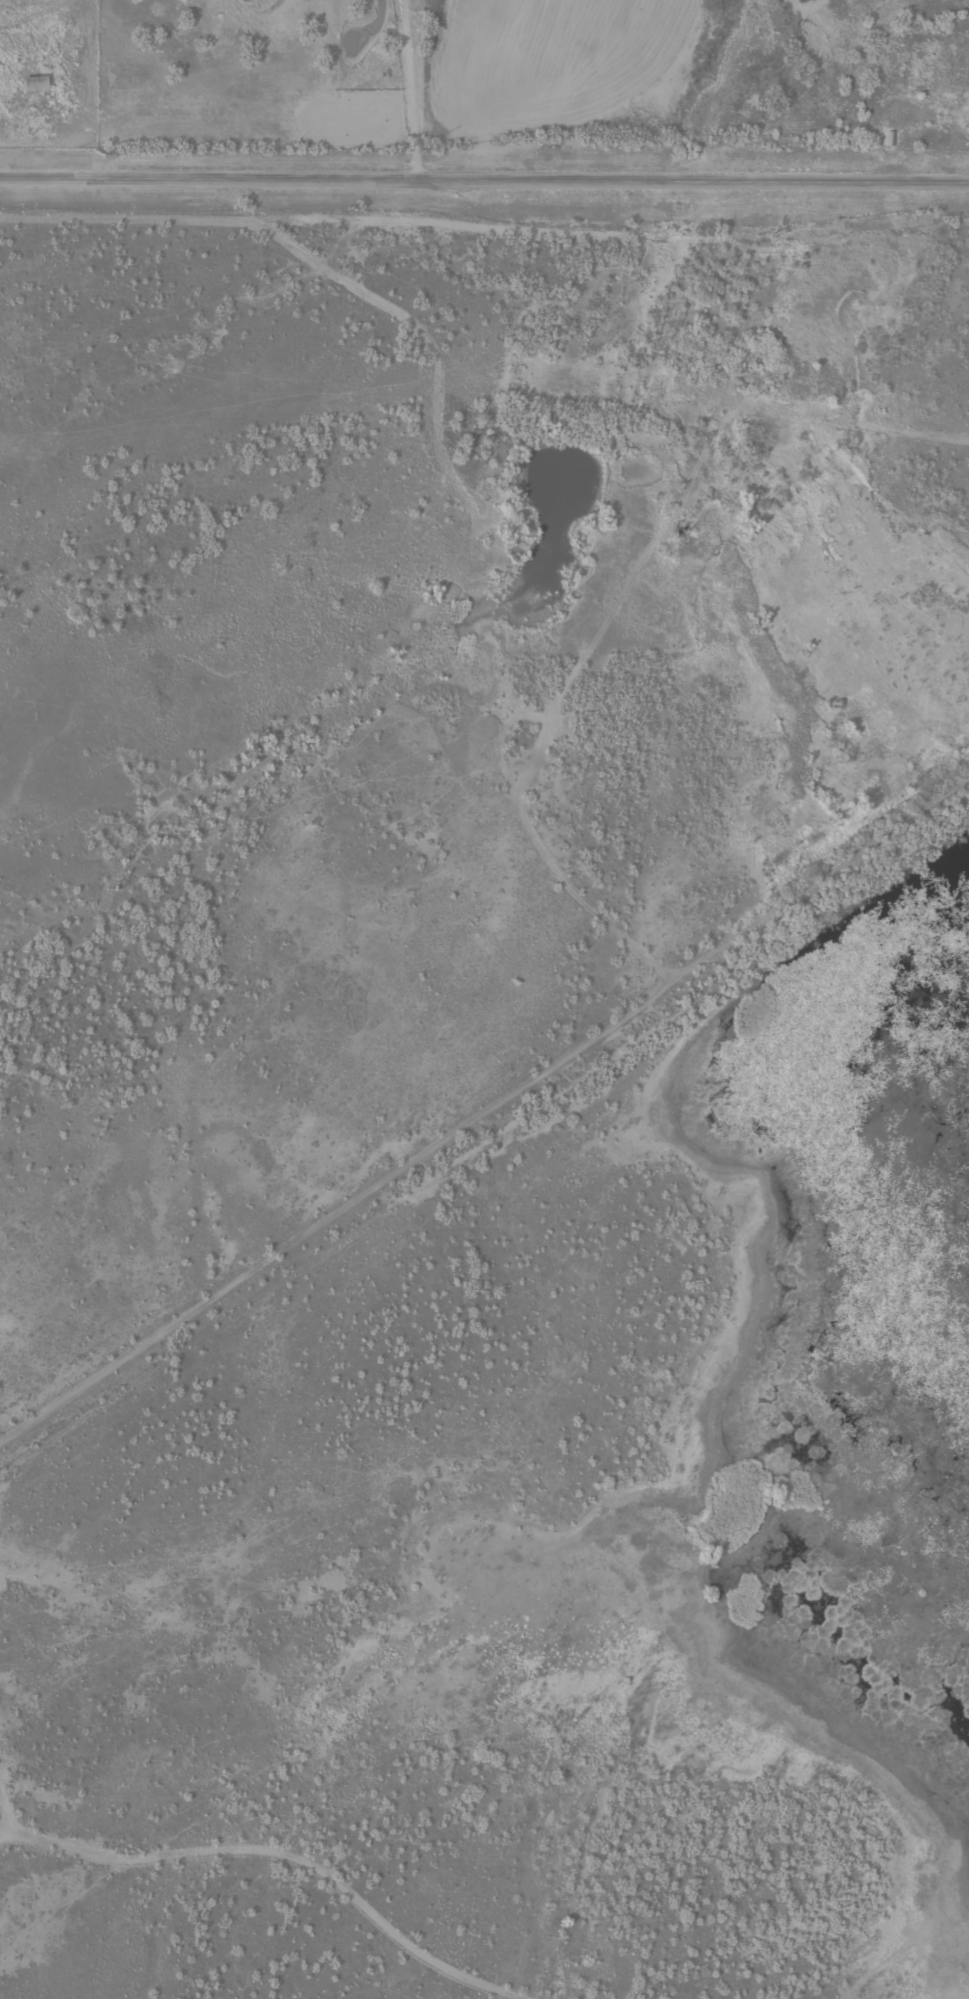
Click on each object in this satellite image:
road: (410, 91)
road: (484, 183)
railway: (484, 1139)

